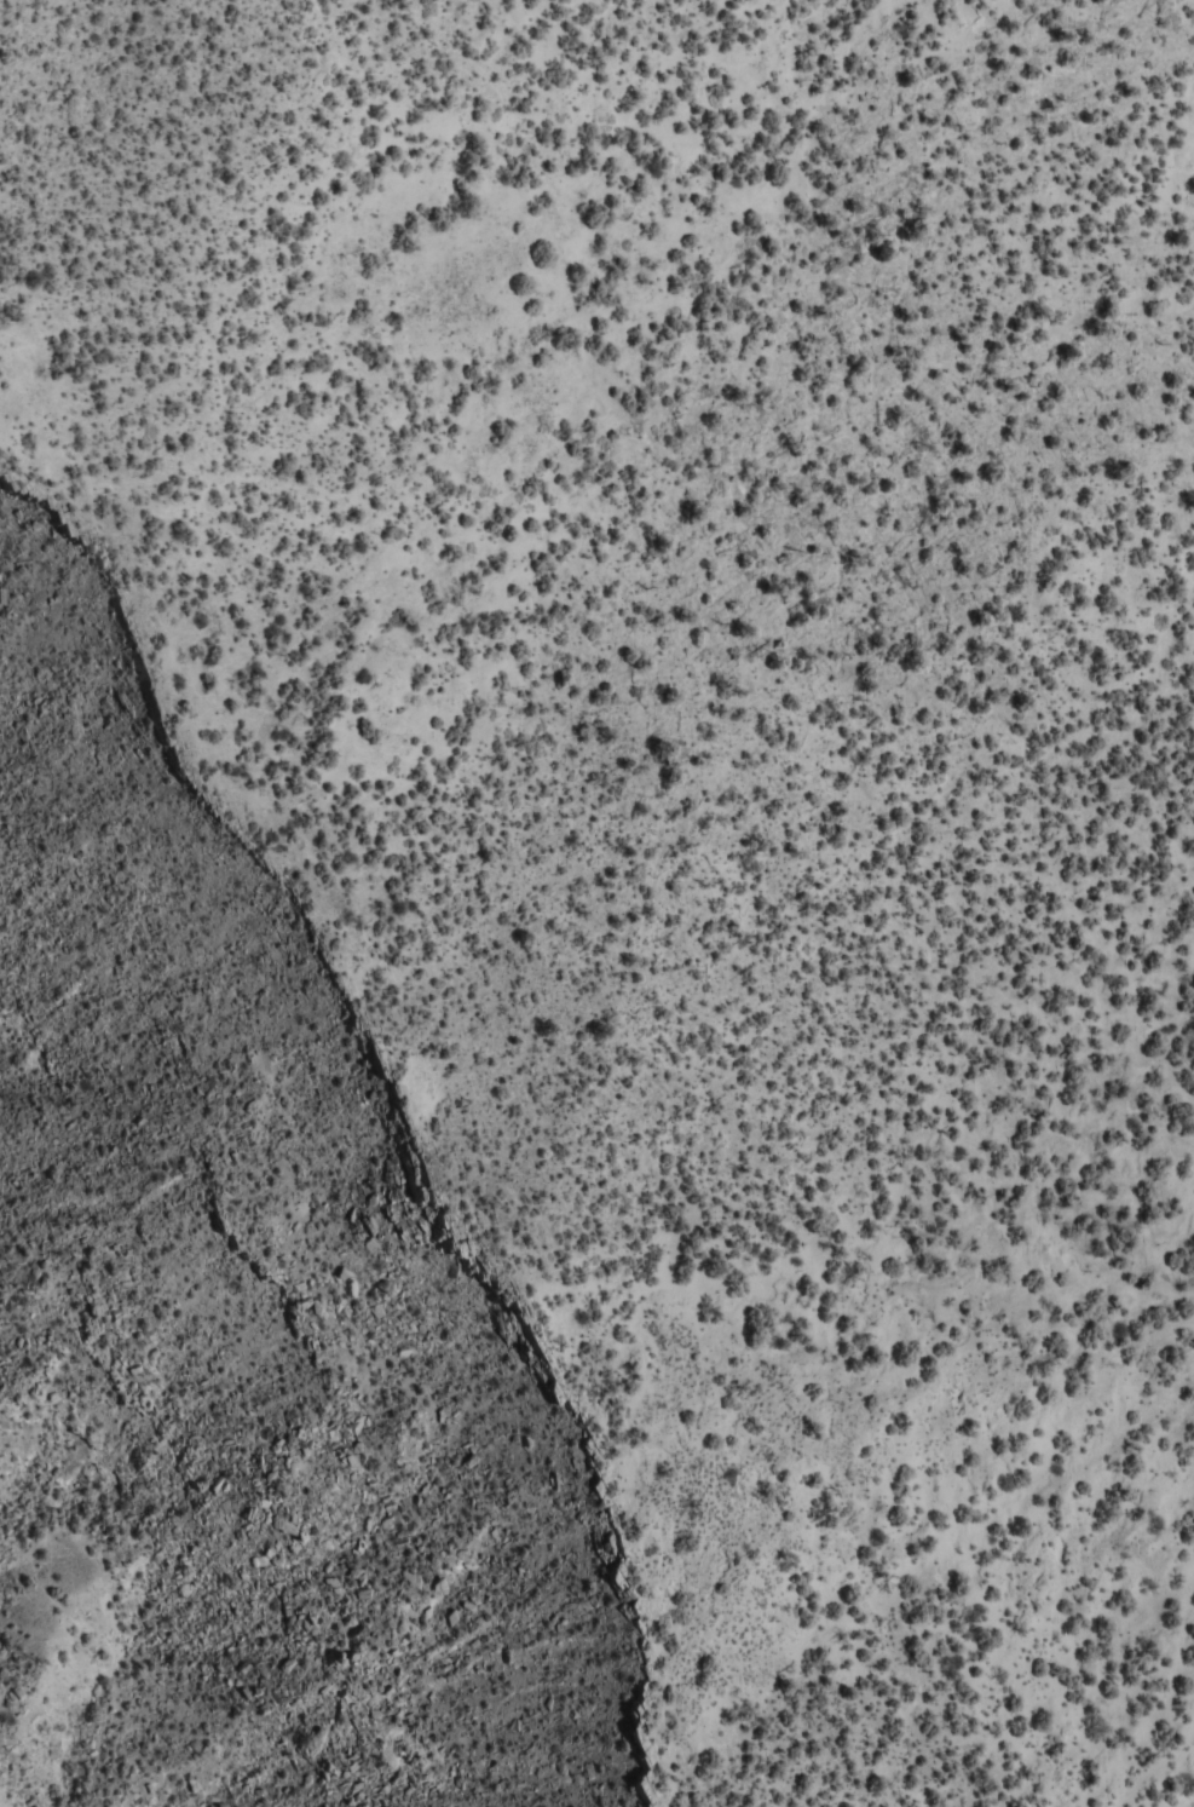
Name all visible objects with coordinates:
building: (971, 945)
building: (993, 960)
building: (916, 1135)

